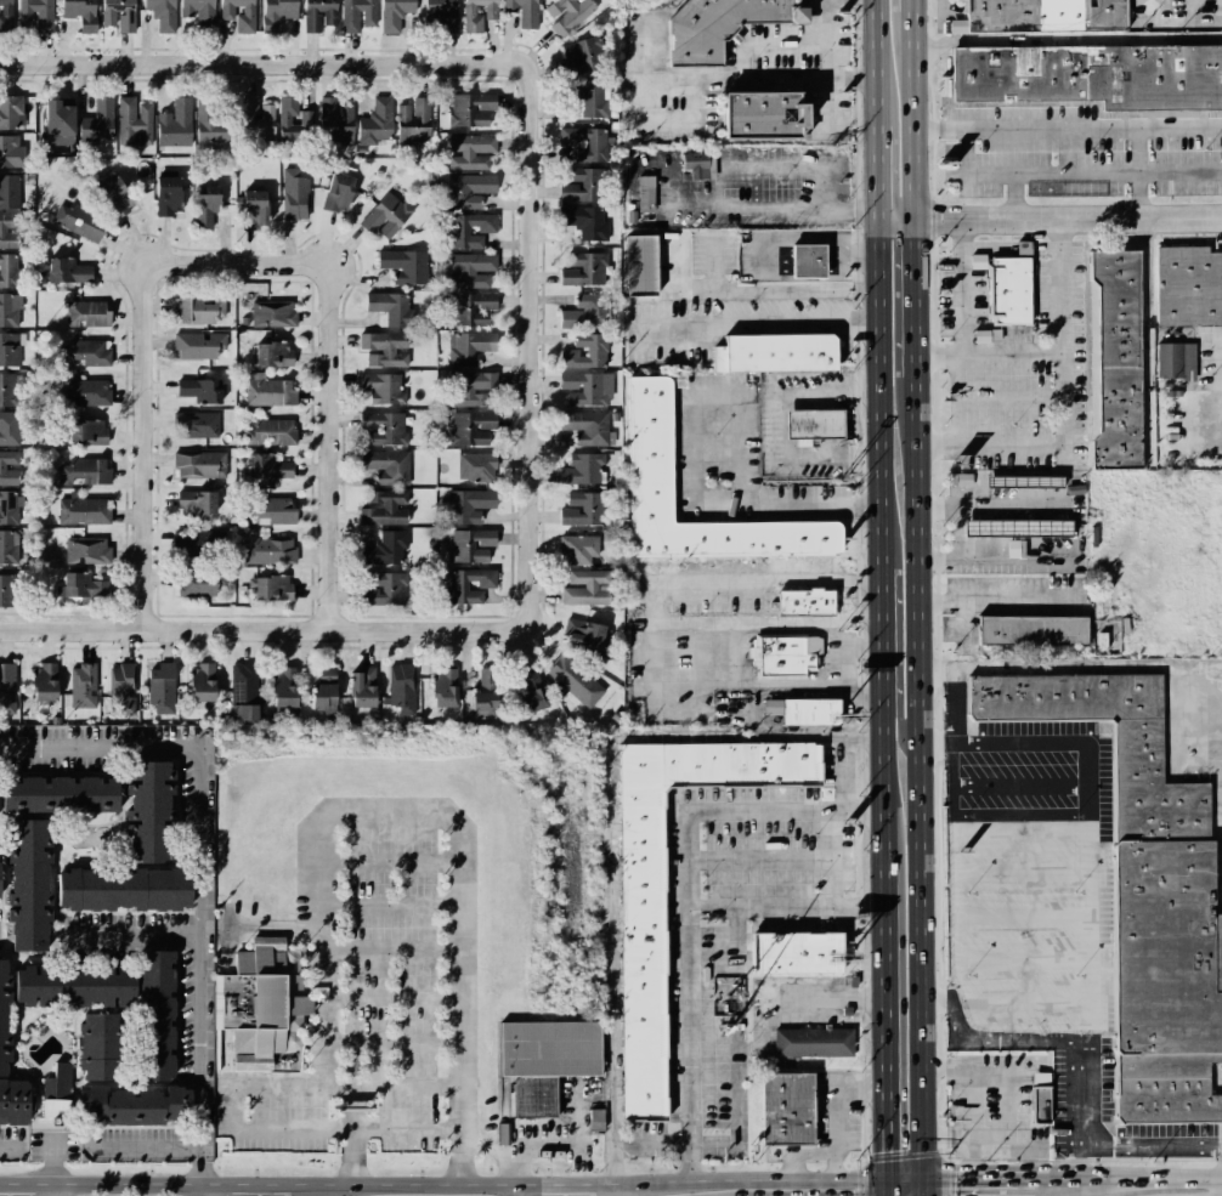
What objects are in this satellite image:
road: (1145, 6)
building: (77, 8)
building: (524, 11)
building: (35, 12)
building: (160, 12)
building: (276, 12)
building: (118, 13)
building: (197, 13)
building: (239, 13)
building: (318, 13)
building: (358, 13)
building: (394, 13)
building: (441, 13)
building: (477, 13)
building: (566, 13)
building: (6, 15)
building: (1040, 15)
road: (929, 17)
building: (713, 24)
road: (856, 39)
road: (1064, 39)
road: (929, 49)
road: (743, 51)
building: (578, 53)
road: (641, 53)
road: (267, 59)
road: (828, 59)
building: (1093, 74)
road: (809, 79)
road: (858, 79)
road: (932, 90)
building: (584, 98)
road: (1087, 103)
building: (470, 110)
building: (11, 112)
road: (949, 112)
building: (754, 113)
building: (209, 119)
building: (132, 120)
building: (293, 120)
road: (668, 120)
building: (377, 121)
building: (95, 123)
building: (334, 123)
road: (949, 123)
building: (174, 124)
building: (56, 125)
building: (259, 125)
building: (412, 125)
road: (1081, 125)
road: (927, 126)
road: (933, 129)
road: (1116, 130)
road: (1160, 130)
road: (1203, 131)
building: (583, 142)
road: (858, 143)
building: (12, 149)
building: (469, 151)
building: (700, 165)
road: (749, 168)
road: (933, 169)
road: (1138, 169)
road: (1070, 172)
building: (581, 183)
building: (10, 189)
building: (469, 192)
building: (336, 193)
building: (646, 193)
building: (113, 194)
building: (166, 194)
building: (293, 194)
road: (1019, 194)
road: (771, 208)
road: (858, 209)
building: (203, 210)
building: (251, 210)
road: (1048, 214)
building: (385, 215)
building: (78, 219)
road: (933, 220)
building: (584, 222)
building: (10, 228)
building: (466, 232)
road: (858, 232)
road: (822, 238)
road: (1011, 248)
road: (858, 256)
road: (836, 260)
road: (679, 261)
road: (779, 261)
building: (810, 261)
road: (242, 262)
road: (714, 262)
building: (403, 265)
building: (640, 265)
building: (471, 268)
building: (585, 268)
building: (7, 270)
building: (67, 270)
road: (859, 276)
road: (961, 284)
building: (1188, 285)
road: (777, 290)
road: (858, 290)
road: (935, 290)
building: (1011, 293)
road: (858, 304)
building: (390, 305)
building: (10, 307)
building: (470, 308)
building: (198, 310)
building: (86, 312)
building: (583, 312)
building: (270, 313)
road: (798, 321)
road: (859, 323)
road: (683, 333)
road: (1148, 339)
building: (198, 345)
road: (537, 345)
building: (469, 347)
building: (10, 348)
building: (384, 348)
building: (85, 352)
building: (271, 352)
building: (584, 352)
building: (776, 353)
road: (988, 353)
road: (859, 356)
road: (937, 356)
building: (1110, 359)
building: (1175, 361)
building: (384, 386)
building: (471, 387)
building: (585, 387)
road: (859, 387)
building: (7, 389)
building: (199, 389)
building: (267, 391)
road: (833, 391)
building: (87, 392)
road: (1011, 396)
road: (937, 401)
road: (696, 404)
road: (1189, 412)
road: (861, 421)
building: (814, 423)
building: (196, 425)
building: (9, 426)
building: (384, 426)
building: (471, 427)
building: (585, 427)
road: (1063, 427)
building: (86, 431)
building: (270, 431)
road: (151, 444)
road: (333, 446)
road: (937, 446)
road: (937, 446)
building: (650, 452)
road: (832, 454)
road: (864, 458)
building: (198, 463)
building: (266, 465)
building: (386, 465)
building: (9, 466)
building: (475, 467)
building: (581, 467)
building: (84, 471)
road: (937, 478)
building: (1020, 480)
road: (864, 483)
building: (194, 503)
building: (468, 504)
road: (815, 504)
building: (6, 505)
building: (384, 506)
road: (937, 506)
road: (864, 508)
building: (83, 509)
building: (583, 509)
building: (267, 510)
building: (39, 516)
building: (1003, 527)
road: (1075, 532)
road: (938, 534)
building: (193, 543)
building: (471, 545)
building: (5, 546)
road: (861, 546)
building: (384, 548)
building: (578, 548)
building: (86, 549)
building: (270, 550)
road: (939, 561)
building: (198, 580)
road: (859, 580)
road: (939, 583)
building: (389, 584)
building: (468, 584)
building: (270, 585)
building: (78, 586)
building: (587, 588)
building: (1, 589)
building: (364, 596)
road: (879, 597)
road: (916, 597)
road: (859, 599)
road: (991, 600)
road: (656, 601)
building: (800, 601)
road: (939, 603)
road: (859, 614)
road: (964, 619)
road: (268, 628)
road: (859, 629)
building: (1029, 630)
building: (589, 634)
road: (697, 634)
road: (939, 636)
road: (859, 647)
road: (844, 650)
building: (782, 656)
road: (697, 659)
road: (859, 665)
road: (1070, 668)
road: (939, 673)
building: (159, 675)
building: (43, 679)
building: (572, 680)
building: (81, 685)
road: (768, 685)
building: (282, 686)
building: (360, 686)
building: (402, 686)
building: (7, 687)
building: (120, 687)
building: (198, 687)
building: (242, 687)
building: (443, 687)
building: (319, 688)
road: (860, 690)
building: (485, 693)
building: (528, 693)
road: (697, 699)
road: (655, 701)
road: (956, 708)
road: (939, 709)
building: (810, 712)
building: (243, 714)
road: (898, 716)
road: (860, 719)
road: (822, 736)
road: (861, 738)
road: (939, 746)
road: (861, 771)
road: (843, 773)
road: (1023, 782)
building: (67, 789)
road: (1090, 797)
road: (861, 809)
road: (389, 810)
building: (155, 811)
road: (1022, 828)
road: (764, 858)
road: (837, 858)
road: (856, 858)
road: (387, 861)
road: (200, 865)
road: (319, 866)
road: (1022, 869)
road: (940, 873)
road: (955, 873)
building: (1, 877)
building: (34, 882)
building: (128, 888)
building: (1144, 892)
road: (690, 901)
road: (387, 906)
road: (786, 907)
road: (861, 907)
road: (1022, 916)
road: (138, 935)
road: (736, 936)
road: (387, 946)
road: (861, 953)
building: (645, 954)
building: (796, 954)
road: (1022, 958)
road: (615, 959)
road: (321, 974)
building: (74, 981)
road: (319, 982)
parking lot: (380, 985)
road: (387, 992)
road: (457, 992)
road: (826, 998)
road: (862, 998)
road: (941, 999)
road: (1005, 1001)
building: (256, 1004)
building: (155, 1014)
building: (5, 1020)
road: (306, 1022)
road: (943, 1033)
building: (100, 1041)
road: (1001, 1041)
road: (389, 1043)
road: (862, 1043)
building: (811, 1045)
fountain: (350, 1061)
building: (544, 1061)
road: (943, 1069)
building: (58, 1082)
road: (403, 1084)
road: (864, 1089)
road: (1006, 1089)
road: (350, 1095)
building: (1041, 1098)
building: (17, 1100)
road: (973, 1100)
building: (136, 1104)
road: (939, 1104)
building: (56, 1107)
building: (786, 1110)
road: (831, 1112)
road: (1079, 1112)
road: (575, 1116)
road: (231, 1122)
road: (404, 1128)
road: (737, 1129)
road: (864, 1134)
road: (962, 1137)
road: (943, 1138)
road: (485, 1144)
road: (1150, 1144)
road: (652, 1145)
road: (9, 1147)
road: (143, 1147)
road: (352, 1147)
road: (548, 1147)
road: (951, 1150)
road: (797, 1154)
road: (901, 1156)
road: (57, 1163)
road: (1033, 1164)
road: (952, 1179)
road: (860, 1180)
road: (554, 1181)
road: (756, 1181)
traffic signals: (884, 1181)
traffic signals: (920, 1181)
road: (946, 1181)
road: (1097, 1181)
road: (430, 1183)
road: (275, 1184)
road: (102, 1185)
road: (516, 1189)
road: (202, 1190)
road: (208, 1190)
road: (57, 1191)

